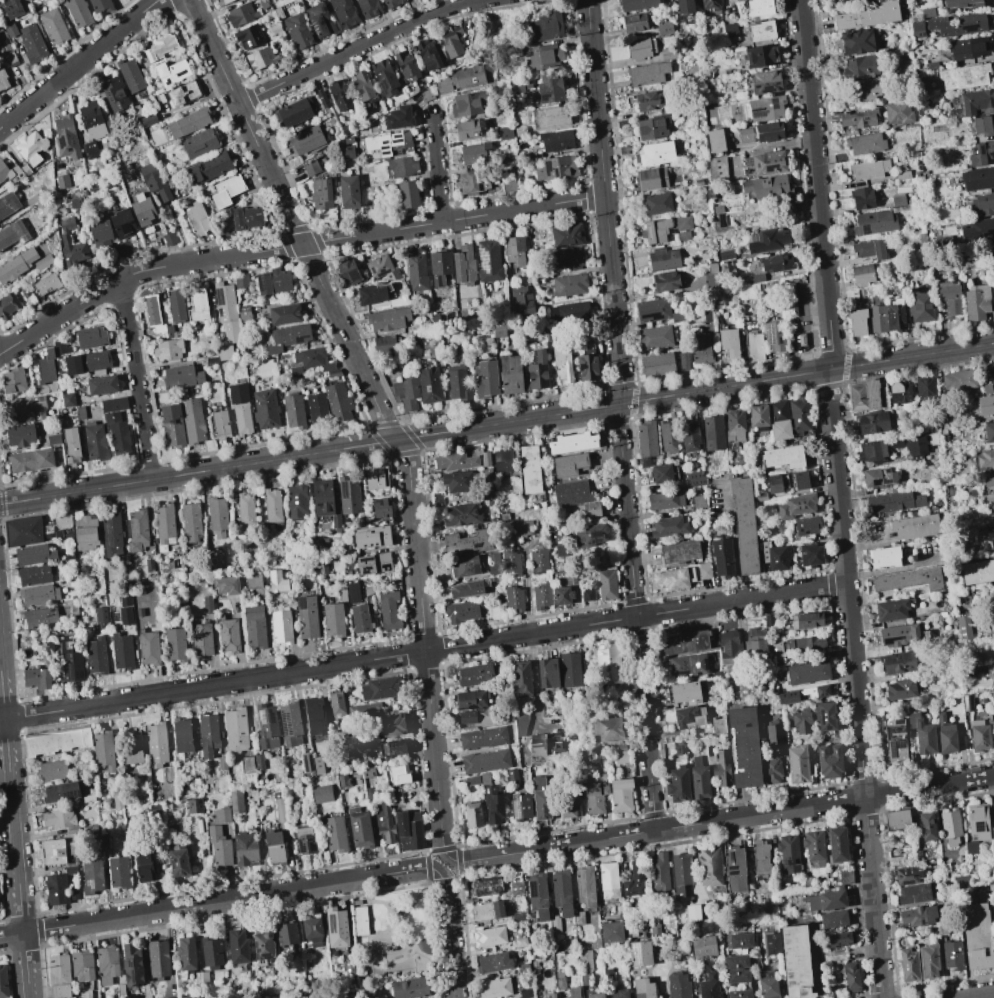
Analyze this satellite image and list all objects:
building: (27, 0)
building: (253, 0)
building: (57, 1)
building: (855, 1)
building: (222, 2)
building: (262, 3)
building: (391, 3)
building: (958, 3)
building: (636, 4)
building: (710, 4)
building: (100, 5)
building: (683, 6)
building: (759, 7)
building: (368, 8)
building: (12, 9)
rooftop solar panel: (324, 9)
building: (927, 12)
building: (77, 13)
building: (277, 13)
building: (343, 13)
building: (239, 14)
building: (866, 16)
building: (320, 20)
rooftop solar panel: (326, 20)
rooftop solar panel: (322, 21)
building: (636, 22)
building: (957, 24)
building: (548, 25)
building: (53, 26)
rooftop solar panel: (315, 26)
building: (664, 27)
rooftop solar panel: (968, 27)
building: (10, 29)
building: (729, 29)
building: (916, 29)
building: (761, 30)
building: (297, 31)
building: (247, 36)
building: (451, 41)
building: (858, 41)
building: (32, 43)
building: (159, 46)
road: (360, 47)
building: (639, 48)
building: (967, 48)
building: (667, 54)
building: (427, 55)
building: (545, 56)
building: (760, 56)
building: (260, 58)
building: (10, 59)
road: (79, 63)
building: (406, 65)
building: (932, 65)
building: (860, 66)
building: (171, 72)
building: (647, 73)
building: (130, 75)
building: (963, 76)
building: (384, 77)
building: (460, 78)
building: (2, 79)
rooftop solar panel: (547, 82)
building: (763, 82)
building: (363, 86)
rooftop solar panel: (383, 86)
building: (519, 86)
building: (409, 88)
building: (549, 89)
building: (865, 89)
rooftop solar panel: (766, 90)
building: (183, 93)
building: (114, 94)
building: (339, 95)
rooftop solar panel: (107, 96)
building: (322, 99)
rooftop solar panel: (773, 99)
rooftop solar panel: (766, 100)
building: (649, 101)
building: (972, 102)
building: (468, 104)
rooftop solar panel: (773, 105)
rooftop solar panel: (118, 106)
building: (922, 106)
building: (765, 108)
building: (292, 113)
building: (898, 113)
building: (548, 116)
building: (398, 117)
building: (855, 118)
building: (91, 119)
building: (147, 120)
building: (188, 123)
building: (982, 125)
building: (651, 129)
building: (467, 130)
building: (519, 130)
building: (504, 133)
building: (760, 133)
rooftop solar panel: (397, 136)
building: (65, 137)
building: (306, 140)
building: (556, 140)
building: (714, 140)
rooftop solar panel: (397, 141)
building: (388, 142)
building: (198, 143)
rooftop solar panel: (384, 143)
building: (864, 143)
building: (29, 147)
rooftop solar panel: (383, 148)
building: (89, 150)
building: (345, 152)
building: (473, 152)
rooftop solar panel: (385, 153)
building: (654, 153)
building: (981, 153)
building: (767, 163)
rooftop solar panel: (758, 164)
building: (401, 166)
rooftop solar panel: (546, 166)
rooftop solar panel: (771, 166)
building: (210, 167)
building: (310, 167)
road: (439, 167)
building: (556, 168)
building: (25, 169)
building: (716, 169)
building: (868, 169)
building: (10, 173)
rooftop solar panel: (554, 173)
building: (902, 175)
building: (651, 178)
building: (977, 178)
building: (154, 180)
building: (61, 182)
building: (471, 183)
building: (508, 184)
road: (816, 184)
building: (765, 186)
building: (225, 191)
building: (348, 192)
building: (321, 193)
building: (407, 194)
building: (862, 198)
building: (32, 200)
building: (897, 200)
building: (75, 203)
building: (655, 203)
building: (7, 204)
building: (983, 204)
rooftop solar panel: (861, 205)
building: (143, 209)
building: (196, 218)
building: (245, 218)
rooftop solar panel: (871, 218)
building: (873, 222)
building: (70, 223)
building: (122, 223)
rooftop solar panel: (865, 227)
building: (663, 228)
building: (977, 229)
building: (100, 231)
building: (12, 233)
building: (566, 235)
building: (684, 236)
building: (168, 238)
building: (921, 238)
building: (768, 240)
building: (942, 241)
road: (291, 245)
building: (122, 249)
building: (868, 249)
building: (513, 250)
building: (74, 254)
building: (725, 255)
building: (567, 258)
building: (663, 259)
rooftop solar panel: (482, 261)
building: (488, 261)
building: (42, 262)
building: (777, 262)
building: (16, 265)
building: (463, 265)
building: (381, 267)
building: (438, 267)
building: (347, 270)
building: (416, 272)
building: (865, 273)
building: (756, 278)
building: (240, 281)
building: (273, 281)
building: (665, 281)
building: (46, 284)
building: (568, 284)
building: (371, 294)
rooftop solar panel: (220, 295)
building: (948, 298)
building: (992, 298)
building: (521, 299)
building: (399, 301)
building: (976, 302)
building: (197, 304)
building: (174, 305)
building: (920, 305)
building: (8, 306)
building: (791, 309)
building: (571, 311)
building: (657, 311)
building: (226, 312)
building: (894, 313)
building: (244, 314)
building: (283, 314)
building: (154, 315)
building: (706, 315)
building: (387, 319)
building: (434, 319)
building: (877, 319)
building: (856, 321)
building: (498, 329)
rooftop solar panel: (768, 333)
building: (773, 335)
building: (90, 337)
building: (288, 337)
building: (654, 337)
rooftop solar panel: (300, 338)
building: (800, 339)
rooftop solar panel: (780, 341)
building: (727, 342)
building: (383, 344)
building: (753, 346)
building: (61, 348)
building: (167, 349)
building: (700, 349)
building: (208, 352)
building: (224, 352)
building: (312, 358)
building: (95, 360)
building: (211, 361)
building: (683, 361)
building: (561, 363)
building: (656, 364)
building: (72, 365)
rooftop solar panel: (580, 366)
building: (45, 367)
building: (587, 367)
building: (537, 372)
building: (510, 374)
building: (992, 374)
building: (181, 376)
building: (485, 378)
building: (12, 380)
road: (136, 380)
building: (958, 380)
road: (830, 383)
building: (456, 384)
building: (101, 385)
building: (428, 385)
building: (924, 387)
building: (406, 393)
building: (898, 393)
building: (863, 395)
building: (67, 400)
building: (338, 402)
building: (112, 404)
building: (985, 406)
building: (24, 408)
building: (240, 408)
building: (265, 409)
building: (317, 409)
building: (293, 411)
building: (80, 412)
road: (381, 414)
road: (619, 415)
building: (798, 415)
building: (758, 417)
building: (192, 420)
building: (778, 420)
building: (872, 422)
road: (496, 423)
building: (219, 424)
building: (171, 426)
building: (734, 428)
building: (712, 432)
building: (988, 432)
building: (117, 433)
building: (20, 435)
building: (689, 435)
building: (668, 437)
building: (646, 438)
building: (53, 439)
building: (94, 441)
building: (572, 443)
building: (916, 444)
building: (70, 445)
building: (876, 449)
building: (783, 456)
building: (485, 459)
building: (985, 459)
building: (30, 460)
building: (455, 461)
building: (502, 461)
building: (569, 464)
building: (529, 469)
building: (661, 473)
rooftop solar panel: (886, 473)
building: (376, 477)
building: (878, 477)
building: (694, 478)
building: (797, 480)
building: (458, 481)
rooftop solar panel: (873, 481)
building: (989, 483)
building: (773, 484)
rooftop solar panel: (886, 484)
rooftop solar panel: (343, 487)
building: (950, 491)
building: (571, 492)
building: (348, 495)
rooftop solar panel: (345, 496)
building: (322, 497)
building: (665, 500)
building: (296, 501)
building: (698, 501)
building: (893, 502)
building: (272, 506)
building: (796, 506)
building: (992, 509)
building: (381, 510)
building: (585, 510)
building: (244, 513)
building: (460, 514)
building: (216, 516)
building: (62, 518)
building: (190, 521)
building: (335, 521)
building: (561, 523)
building: (164, 524)
building: (743, 525)
building: (806, 525)
building: (668, 526)
building: (914, 526)
building: (522, 528)
rooftop solar panel: (105, 529)
building: (25, 530)
building: (137, 530)
building: (85, 533)
rooftop solar panel: (603, 534)
building: (111, 535)
building: (588, 535)
building: (370, 536)
building: (990, 539)
rooftop solar panel: (109, 541)
rooftop solar panel: (594, 541)
building: (467, 542)
building: (559, 545)
building: (679, 552)
building: (34, 554)
building: (809, 554)
building: (774, 556)
building: (883, 556)
building: (215, 557)
rooftop solar panel: (364, 557)
building: (721, 558)
building: (538, 559)
building: (373, 563)
building: (493, 563)
building: (510, 563)
building: (171, 564)
building: (149, 565)
building: (464, 566)
road: (891, 568)
building: (322, 569)
building: (704, 571)
building: (977, 571)
rooftop solar panel: (365, 573)
building: (33, 574)
building: (673, 577)
building: (577, 579)
building: (908, 579)
building: (252, 581)
building: (276, 581)
building: (993, 584)
building: (226, 585)
building: (606, 585)
building: (465, 589)
building: (352, 591)
building: (37, 595)
building: (561, 595)
building: (587, 595)
building: (541, 596)
building: (513, 598)
rooftop solar panel: (302, 602)
building: (207, 605)
building: (72, 608)
building: (125, 609)
building: (891, 609)
building: (388, 610)
building: (462, 610)
building: (139, 612)
building: (100, 614)
building: (306, 615)
building: (40, 617)
building: (359, 618)
building: (333, 619)
building: (768, 620)
building: (806, 620)
building: (254, 626)
building: (281, 626)
building: (963, 627)
building: (898, 633)
building: (226, 634)
building: (201, 639)
building: (683, 642)
building: (174, 644)
building: (805, 644)
building: (755, 645)
building: (149, 647)
building: (729, 647)
building: (50, 648)
building: (121, 651)
building: (775, 651)
road: (423, 652)
building: (96, 655)
building: (70, 659)
building: (970, 659)
building: (607, 660)
building: (898, 662)
building: (687, 665)
building: (569, 669)
building: (547, 672)
building: (807, 672)
building: (474, 675)
building: (520, 677)
building: (36, 678)
building: (380, 688)
building: (900, 689)
building: (684, 691)
building: (815, 691)
building: (787, 697)
road: (855, 697)
building: (471, 699)
building: (336, 701)
building: (967, 703)
building: (363, 711)
building: (314, 715)
building: (825, 715)
rooftop solar panel: (259, 716)
building: (466, 717)
building: (688, 717)
rooftop solar panel: (270, 718)
rooftop solar panel: (822, 718)
building: (800, 719)
building: (520, 720)
building: (289, 724)
rooftop solar panel: (284, 725)
building: (389, 726)
building: (718, 726)
building: (266, 727)
building: (605, 729)
building: (235, 730)
building: (773, 733)
building: (946, 733)
building: (207, 734)
building: (922, 734)
building: (979, 734)
building: (181, 735)
building: (482, 738)
building: (55, 740)
building: (895, 741)
building: (546, 743)
building: (156, 744)
rooftop solar panel: (891, 744)
building: (743, 746)
building: (396, 747)
building: (132, 748)
building: (678, 748)
building: (103, 750)
building: (621, 756)
building: (258, 761)
building: (485, 761)
building: (829, 761)
building: (306, 762)
rooftop solar panel: (310, 762)
building: (221, 763)
building: (797, 763)
building: (247, 764)
rooftop solar panel: (305, 764)
building: (317, 765)
building: (680, 766)
building: (721, 768)
building: (51, 770)
building: (771, 770)
building: (368, 772)
building: (167, 774)
building: (399, 774)
building: (511, 774)
building: (485, 778)
building: (698, 779)
building: (343, 780)
building: (471, 780)
building: (677, 785)
building: (60, 792)
building: (368, 793)
building: (321, 794)
building: (620, 795)
rooftop solar panel: (71, 796)
building: (594, 797)
building: (87, 798)
building: (540, 798)
building: (117, 801)
building: (568, 801)
building: (235, 802)
building: (492, 804)
building: (194, 806)
building: (279, 807)
rooftop solar panel: (512, 807)
building: (520, 807)
building: (993, 813)
building: (472, 815)
building: (222, 816)
building: (57, 819)
road: (722, 820)
building: (897, 820)
building: (978, 821)
building: (384, 823)
building: (926, 825)
road: (14, 826)
building: (950, 827)
building: (359, 828)
building: (73, 829)
building: (408, 831)
building: (334, 834)
building: (304, 840)
building: (836, 845)
building: (273, 847)
building: (814, 847)
building: (970, 847)
building: (74, 848)
building: (218, 848)
building: (244, 849)
building: (51, 852)
building: (788, 853)
building: (760, 857)
building: (177, 860)
rooftop solar panel: (173, 862)
road: (445, 865)
building: (143, 866)
building: (708, 866)
building: (734, 869)
building: (117, 872)
building: (679, 872)
building: (659, 873)
building: (91, 876)
building: (907, 876)
building: (845, 877)
building: (633, 880)
building: (608, 882)
rooftop solar panel: (90, 883)
building: (584, 885)
building: (57, 886)
building: (484, 887)
building: (515, 888)
building: (561, 892)
building: (73, 893)
building: (913, 894)
building: (537, 895)
building: (826, 900)
road: (219, 901)
building: (487, 910)
building: (692, 912)
building: (517, 916)
building: (917, 916)
building: (578, 918)
building: (831, 919)
building: (360, 920)
rooftop solar panel: (331, 924)
building: (555, 924)
building: (336, 927)
building: (611, 931)
building: (312, 932)
building: (286, 933)
road: (451, 933)
building: (488, 936)
building: (976, 936)
building: (837, 939)
building: (739, 940)
building: (520, 942)
building: (262, 943)
building: (771, 943)
building: (237, 946)
building: (702, 947)
rooftop solar panel: (256, 951)
building: (211, 952)
building: (639, 953)
building: (186, 954)
rooftop solar panel: (637, 954)
rooftop solar panel: (267, 956)
building: (952, 956)
building: (157, 959)
building: (583, 960)
building: (796, 961)
building: (928, 961)
building: (492, 962)
building: (107, 963)
building: (83, 965)
building: (131, 965)
building: (908, 965)
rooftop solar panel: (129, 966)
building: (522, 968)
building: (735, 969)
building: (607, 973)
building: (61, 975)
building: (200, 977)
building: (850, 977)
rooftop solar panel: (132, 978)
building: (582, 979)
building: (560, 981)
building: (3, 982)
building: (766, 984)
building: (678, 986)
building: (708, 986)
building: (409, 988)
building: (494, 988)
building: (642, 988)
building: (573, 992)
building: (525, 993)
building: (618, 993)
building: (738, 993)
building: (548, 995)
building: (594, 995)
road: (978, 995)
building: (189, 996)
building: (171, 997)

